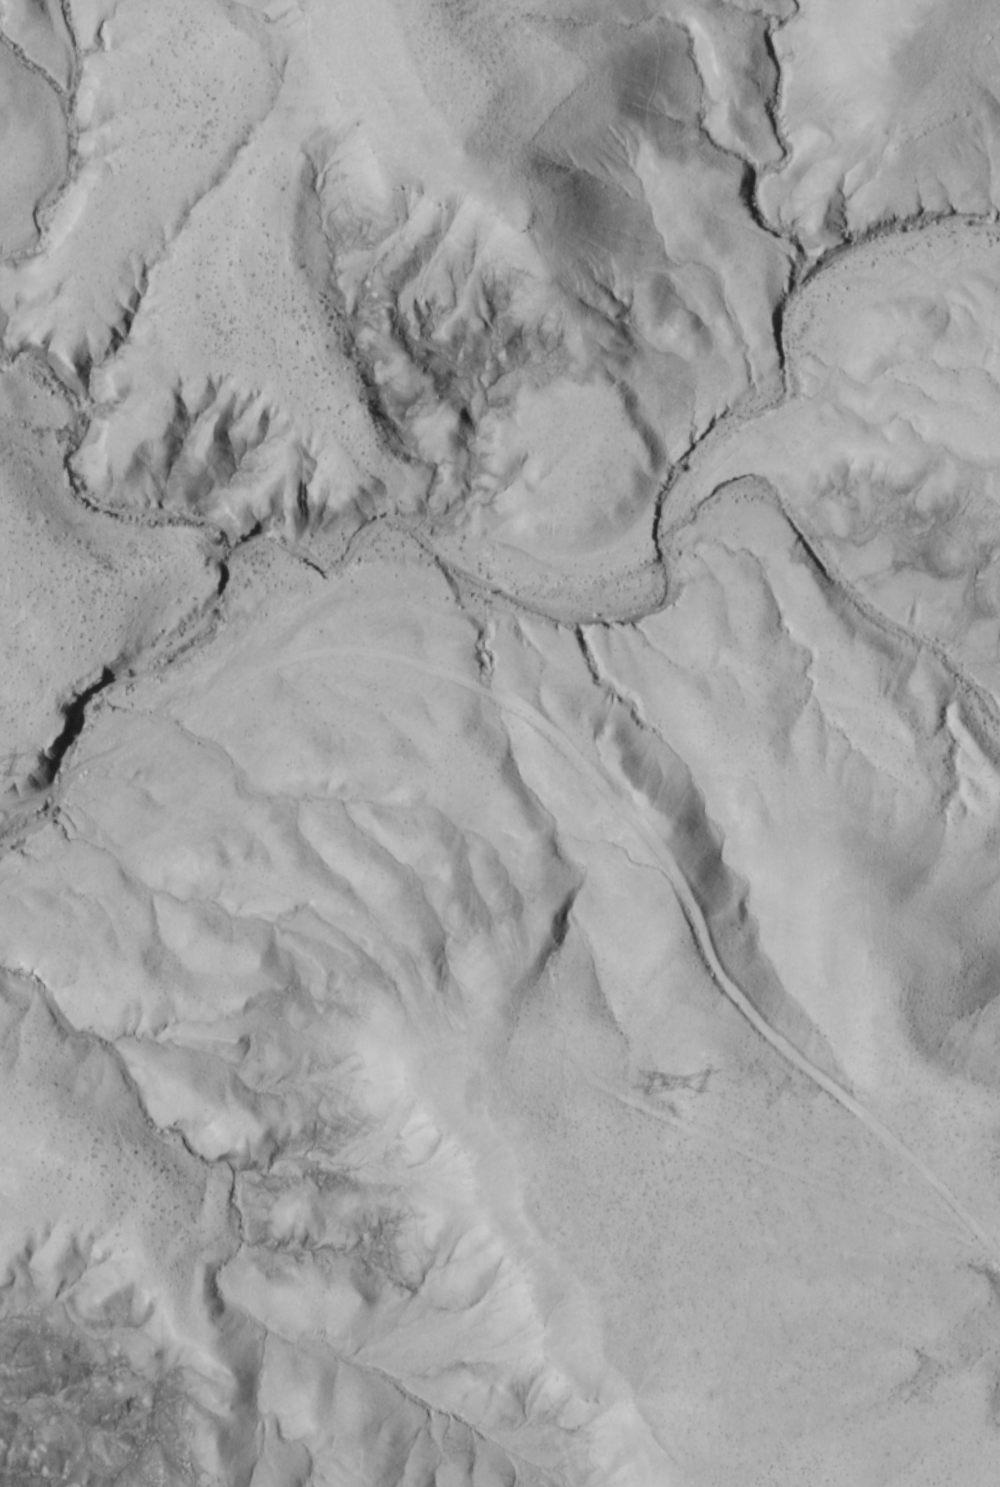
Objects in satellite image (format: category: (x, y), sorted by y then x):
power tower: (642, 1075)

